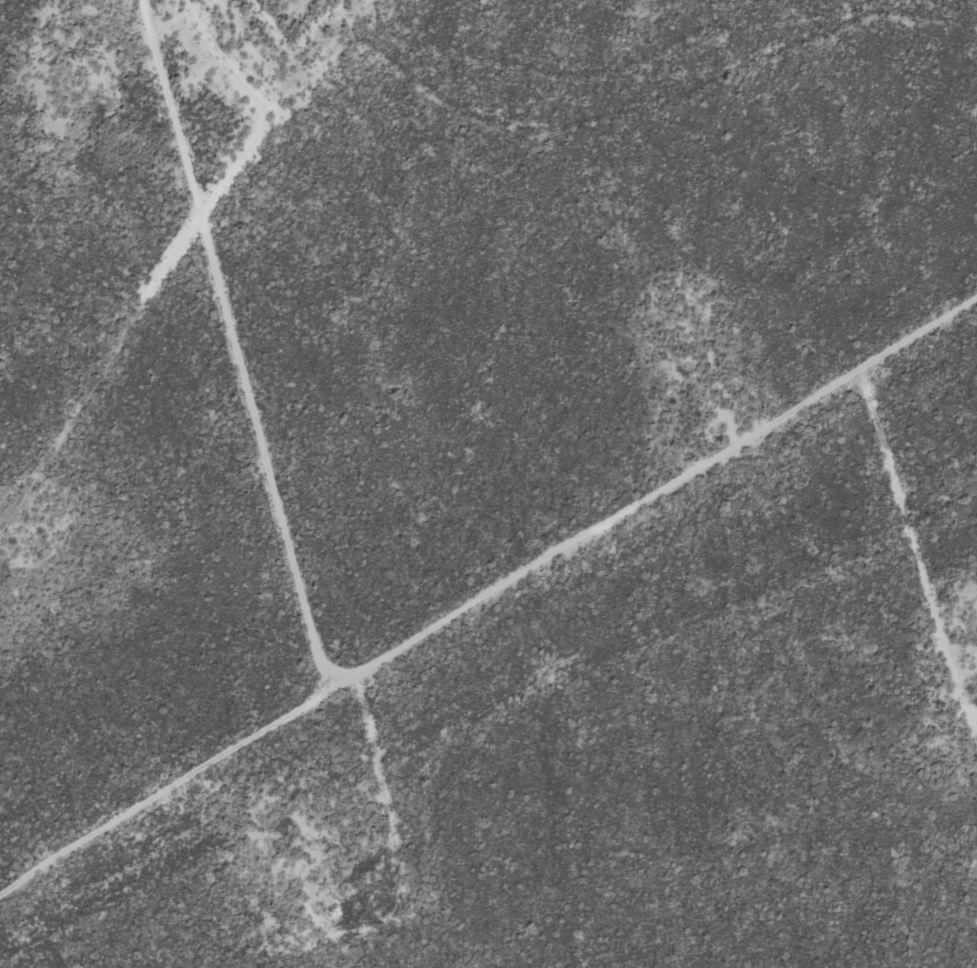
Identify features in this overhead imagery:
road: (283, 396)
road: (937, 534)
road: (485, 592)

